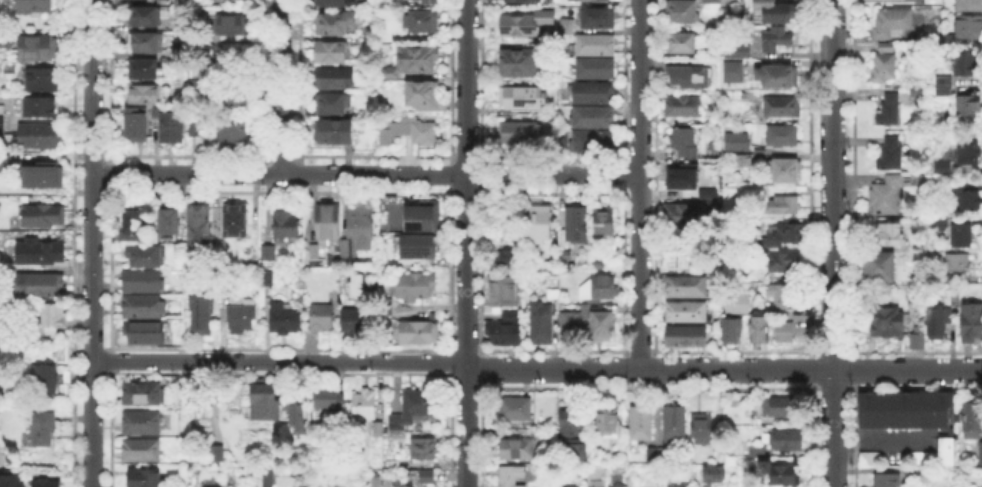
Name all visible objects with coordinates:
building: (592, 0)
building: (522, 1)
building: (187, 2)
building: (433, 2)
building: (712, 2)
building: (337, 3)
building: (969, 5)
building: (36, 8)
building: (681, 12)
building: (778, 13)
building: (144, 18)
building: (601, 19)
building: (424, 22)
building: (337, 24)
building: (892, 24)
building: (520, 25)
building: (233, 26)
building: (567, 27)
building: (969, 27)
building: (714, 31)
building: (5, 38)
building: (386, 38)
building: (949, 38)
building: (777, 39)
building: (147, 43)
building: (681, 44)
building: (596, 46)
building: (40, 49)
building: (214, 51)
building: (738, 52)
building: (330, 53)
building: (416, 61)
building: (519, 64)
building: (886, 65)
building: (967, 66)
building: (596, 70)
building: (145, 71)
building: (735, 73)
building: (779, 76)
building: (691, 78)
building: (44, 80)
building: (335, 80)
building: (198, 85)
road: (280, 86)
building: (944, 87)
building: (142, 93)
building: (592, 94)
building: (424, 97)
building: (749, 97)
building: (233, 98)
building: (522, 98)
building: (335, 106)
building: (685, 107)
building: (967, 107)
building: (42, 108)
building: (783, 108)
building: (888, 112)
building: (1, 117)
building: (595, 117)
building: (134, 123)
building: (169, 126)
building: (191, 127)
building: (407, 129)
building: (334, 133)
building: (520, 133)
building: (232, 136)
building: (783, 136)
building: (39, 137)
building: (685, 141)
building: (738, 141)
building: (595, 142)
building: (970, 153)
building: (890, 155)
building: (740, 159)
building: (5, 161)
building: (941, 165)
building: (783, 168)
building: (41, 173)
road: (365, 173)
building: (684, 178)
road: (640, 184)
building: (887, 197)
building: (965, 198)
building: (714, 199)
building: (785, 205)
building: (685, 215)
building: (45, 217)
building: (170, 220)
building: (237, 221)
building: (541, 222)
building: (134, 224)
building: (605, 224)
building: (286, 225)
building: (200, 226)
building: (362, 227)
building: (576, 227)
building: (332, 230)
building: (421, 233)
building: (956, 233)
building: (782, 235)
building: (890, 235)
road: (90, 243)
road: (465, 243)
road: (834, 243)
building: (42, 252)
building: (315, 252)
building: (269, 254)
building: (145, 257)
building: (507, 260)
building: (598, 262)
building: (782, 264)
building: (959, 264)
building: (881, 268)
building: (951, 280)
building: (144, 281)
building: (354, 285)
building: (40, 286)
building: (414, 287)
building: (688, 287)
building: (599, 288)
building: (375, 289)
building: (505, 292)
building: (786, 297)
building: (956, 297)
building: (735, 302)
building: (145, 307)
building: (763, 307)
building: (202, 312)
building: (687, 312)
building: (282, 317)
building: (242, 319)
building: (322, 319)
building: (54, 320)
building: (354, 322)
building: (940, 322)
building: (889, 323)
building: (972, 323)
building: (605, 324)
building: (542, 325)
building: (571, 327)
building: (180, 329)
building: (782, 330)
building: (506, 331)
building: (760, 331)
building: (731, 332)
building: (145, 334)
building: (422, 334)
building: (687, 337)
building: (919, 340)
road: (536, 369)
building: (47, 380)
building: (143, 394)
building: (331, 400)
building: (266, 402)
building: (365, 404)
building: (415, 408)
building: (778, 408)
building: (516, 410)
building: (906, 411)
building: (297, 418)
building: (969, 419)
building: (609, 421)
building: (142, 423)
building: (642, 424)
building: (675, 424)
building: (377, 428)
building: (702, 428)
building: (367, 429)
building: (43, 431)
building: (573, 434)
building: (786, 440)
building: (518, 449)
building: (425, 450)
building: (759, 451)
building: (142, 452)
building: (214, 452)
building: (979, 453)
building: (652, 455)
building: (938, 455)
building: (871, 460)
building: (913, 473)
building: (780, 474)
building: (717, 475)
building: (512, 476)
building: (428, 478)
building: (145, 479)
building: (11, 481)
building: (888, 481)
building: (269, 482)
building: (378, 482)
building: (304, 483)
building: (47, 485)
building: (612, 485)
building: (674, 485)
building: (209, 486)
building: (568, 486)

